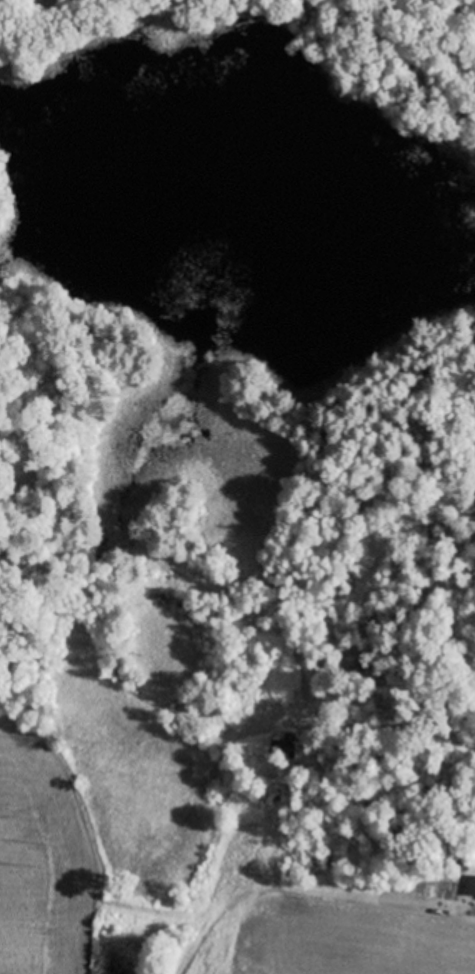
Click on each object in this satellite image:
building: (470, 885)

